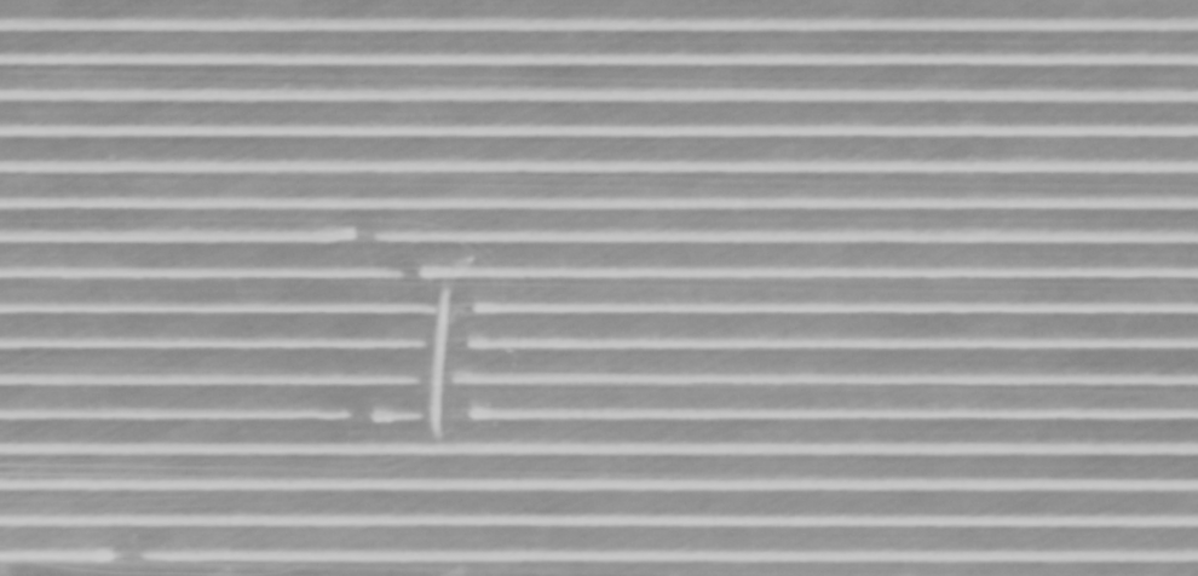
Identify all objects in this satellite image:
crop: (599, 288)

